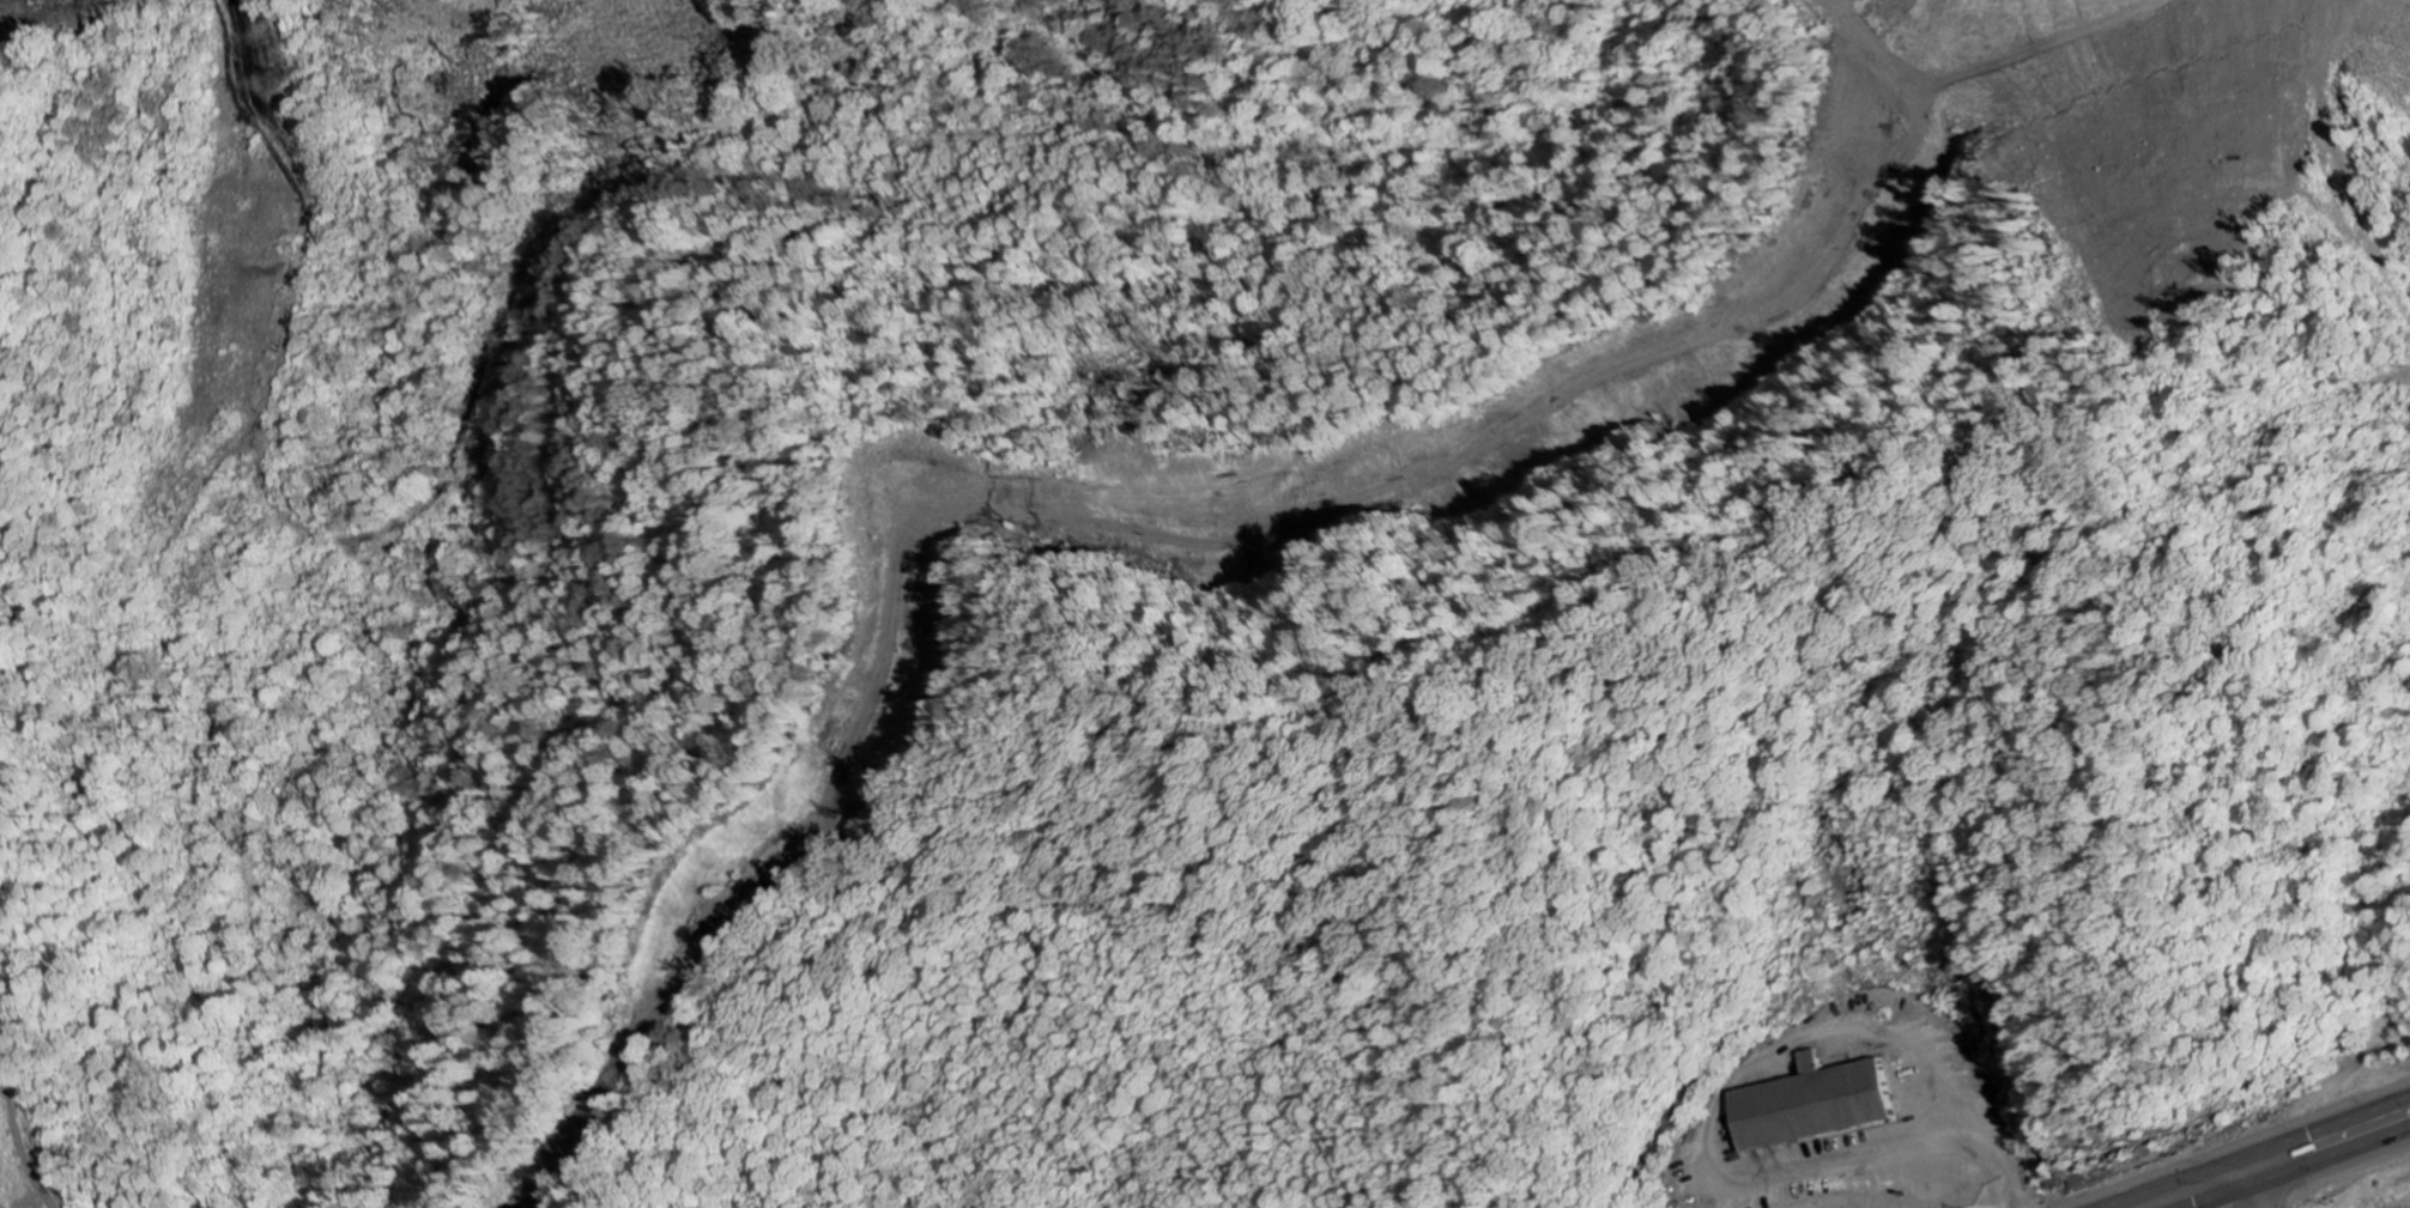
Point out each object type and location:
road: (326, 210)
building: (1818, 1105)
road: (2248, 1149)
road: (2306, 1170)
road: (2255, 1179)

